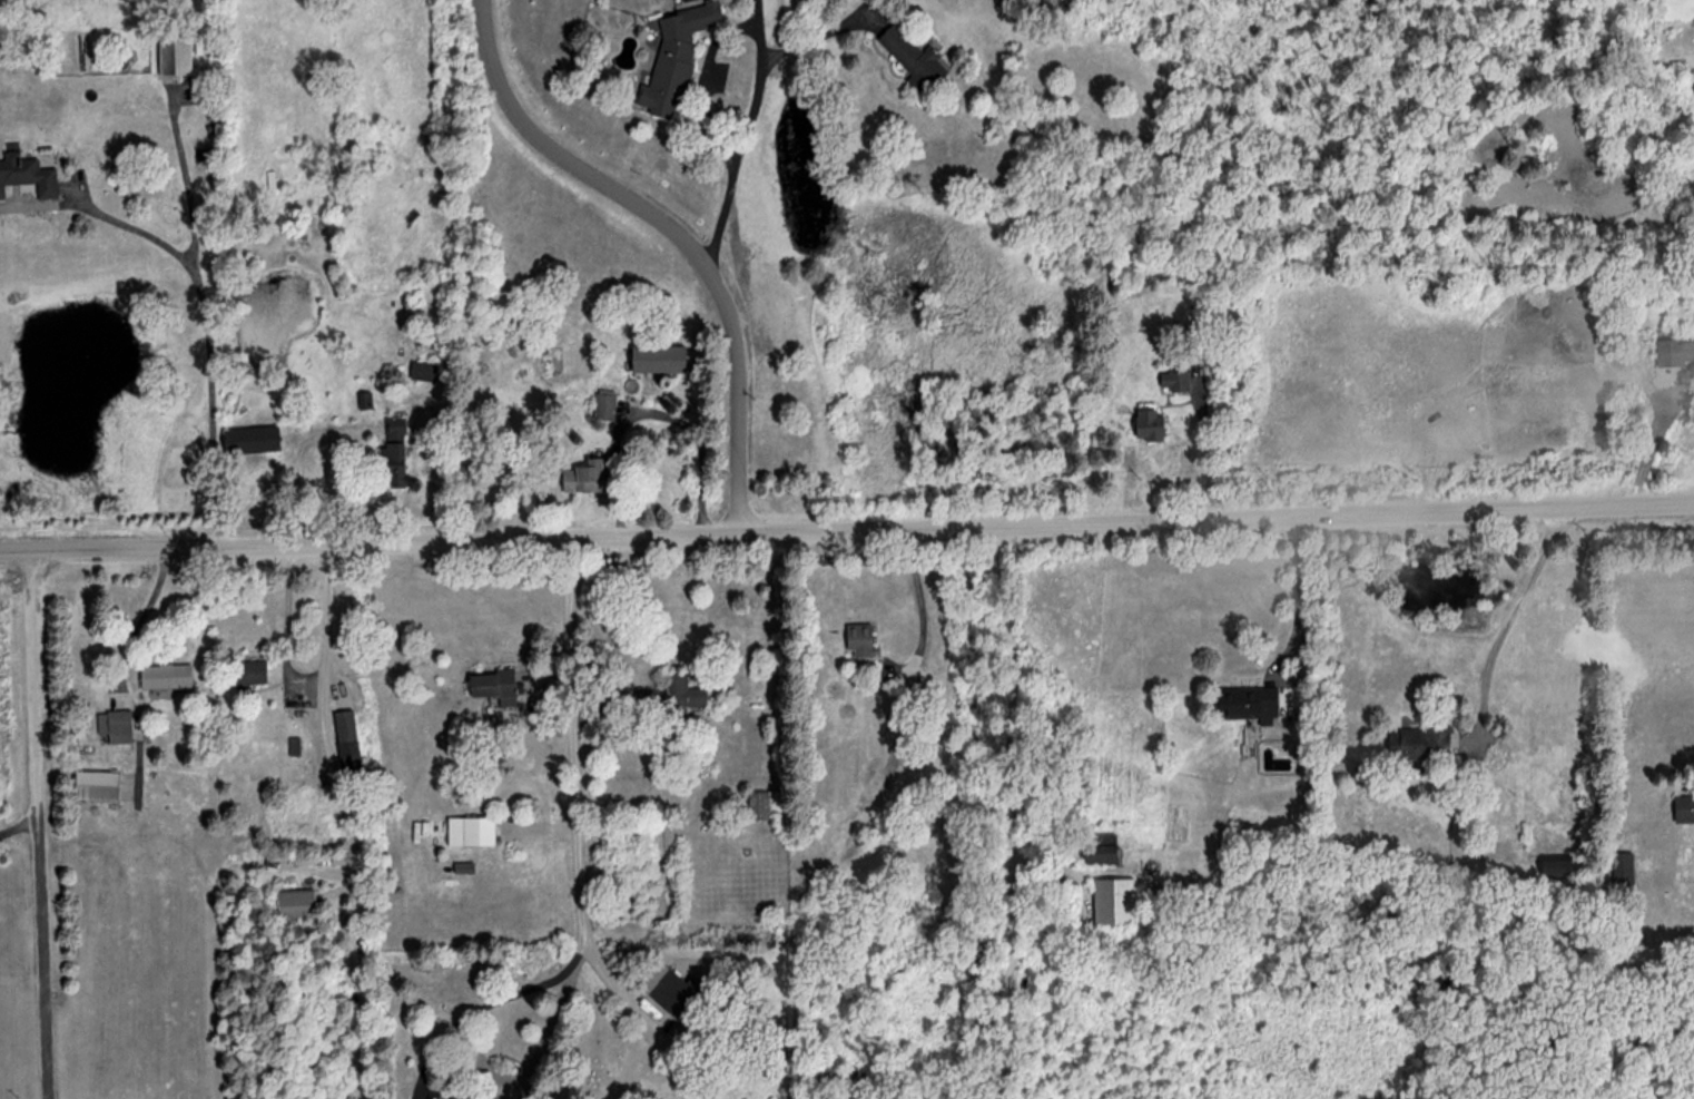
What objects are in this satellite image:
road: (761, 29)
road: (824, 33)
building: (177, 50)
building: (680, 53)
building: (917, 58)
road: (702, 82)
building: (1056, 127)
road: (738, 156)
building: (29, 177)
road: (102, 215)
road: (687, 229)
road: (205, 335)
building: (1676, 354)
building: (662, 359)
building: (1176, 381)
building: (607, 405)
road: (651, 412)
building: (1151, 423)
road: (331, 431)
building: (255, 440)
building: (397, 452)
building: (587, 475)
road: (847, 529)
road: (1299, 599)
road: (918, 605)
road: (152, 612)
road: (1510, 619)
building: (863, 639)
road: (288, 671)
building: (253, 674)
building: (168, 676)
building: (498, 687)
building: (673, 696)
building: (912, 699)
building: (1252, 704)
building: (117, 726)
building: (349, 742)
building: (1424, 743)
building: (99, 785)
building: (767, 806)
building: (1686, 808)
road: (1011, 811)
road: (37, 825)
road: (18, 827)
building: (473, 832)
road: (581, 842)
building: (1104, 854)
building: (1626, 870)
building: (1116, 902)
building: (298, 904)
building: (682, 995)
road: (489, 1002)
road: (532, 1068)
building: (451, 1098)

